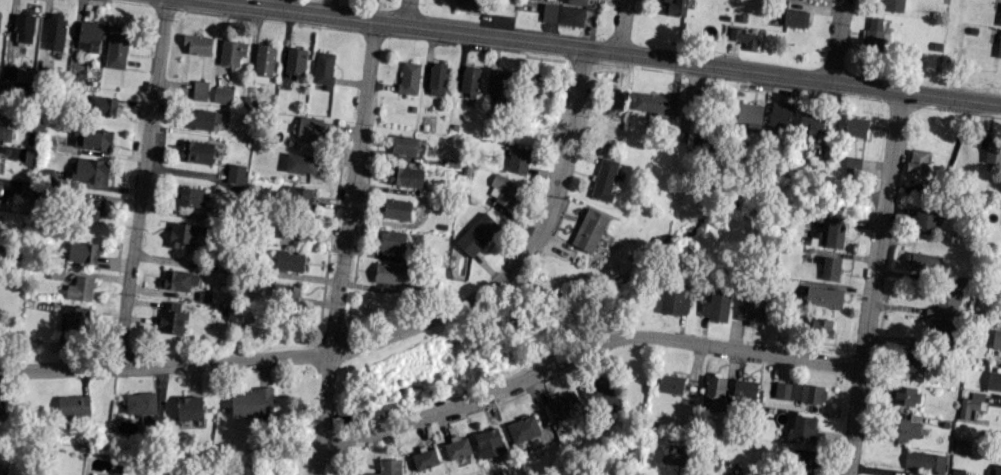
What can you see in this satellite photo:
building: (577, 2)
building: (466, 5)
building: (893, 5)
building: (674, 7)
road: (406, 12)
building: (562, 15)
building: (1000, 17)
building: (795, 18)
road: (621, 26)
building: (23, 28)
building: (55, 31)
building: (874, 34)
building: (89, 36)
building: (743, 37)
road: (836, 40)
building: (197, 44)
building: (117, 46)
building: (998, 46)
road: (604, 50)
building: (231, 52)
building: (295, 61)
building: (263, 63)
building: (324, 69)
building: (408, 77)
building: (437, 78)
building: (469, 80)
building: (502, 87)
building: (199, 90)
building: (540, 90)
building: (0, 91)
building: (222, 95)
building: (615, 98)
building: (654, 103)
building: (103, 105)
building: (749, 114)
building: (780, 115)
building: (199, 118)
building: (811, 123)
building: (855, 127)
building: (309, 129)
building: (5, 131)
building: (92, 138)
building: (404, 145)
building: (196, 151)
building: (993, 152)
building: (30, 158)
building: (518, 159)
building: (917, 161)
building: (852, 162)
building: (300, 163)
building: (90, 171)
building: (235, 173)
building: (405, 176)
building: (604, 179)
building: (0, 184)
road: (142, 184)
building: (503, 190)
building: (187, 196)
building: (298, 198)
building: (397, 209)
building: (95, 210)
building: (924, 220)
building: (589, 230)
building: (292, 232)
building: (187, 234)
building: (477, 234)
building: (830, 236)
building: (391, 241)
road: (344, 247)
building: (83, 252)
building: (289, 260)
building: (924, 262)
building: (830, 268)
building: (389, 273)
building: (179, 280)
road: (871, 282)
building: (80, 288)
building: (285, 293)
building: (823, 296)
building: (673, 301)
building: (944, 305)
building: (715, 307)
building: (750, 311)
building: (75, 318)
building: (170, 319)
building: (821, 326)
building: (941, 328)
road: (383, 339)
building: (996, 339)
road: (582, 352)
building: (912, 363)
building: (993, 381)
building: (669, 383)
building: (744, 389)
building: (604, 392)
building: (714, 392)
building: (799, 392)
building: (905, 395)
building: (252, 402)
building: (140, 403)
building: (969, 404)
building: (73, 405)
building: (189, 407)
building: (564, 407)
building: (522, 428)
building: (904, 429)
building: (803, 430)
building: (999, 440)
building: (489, 443)
building: (457, 447)
building: (672, 453)
building: (424, 459)
building: (924, 460)
building: (803, 462)
building: (387, 467)
building: (995, 470)
building: (957, 471)
building: (733, 474)

